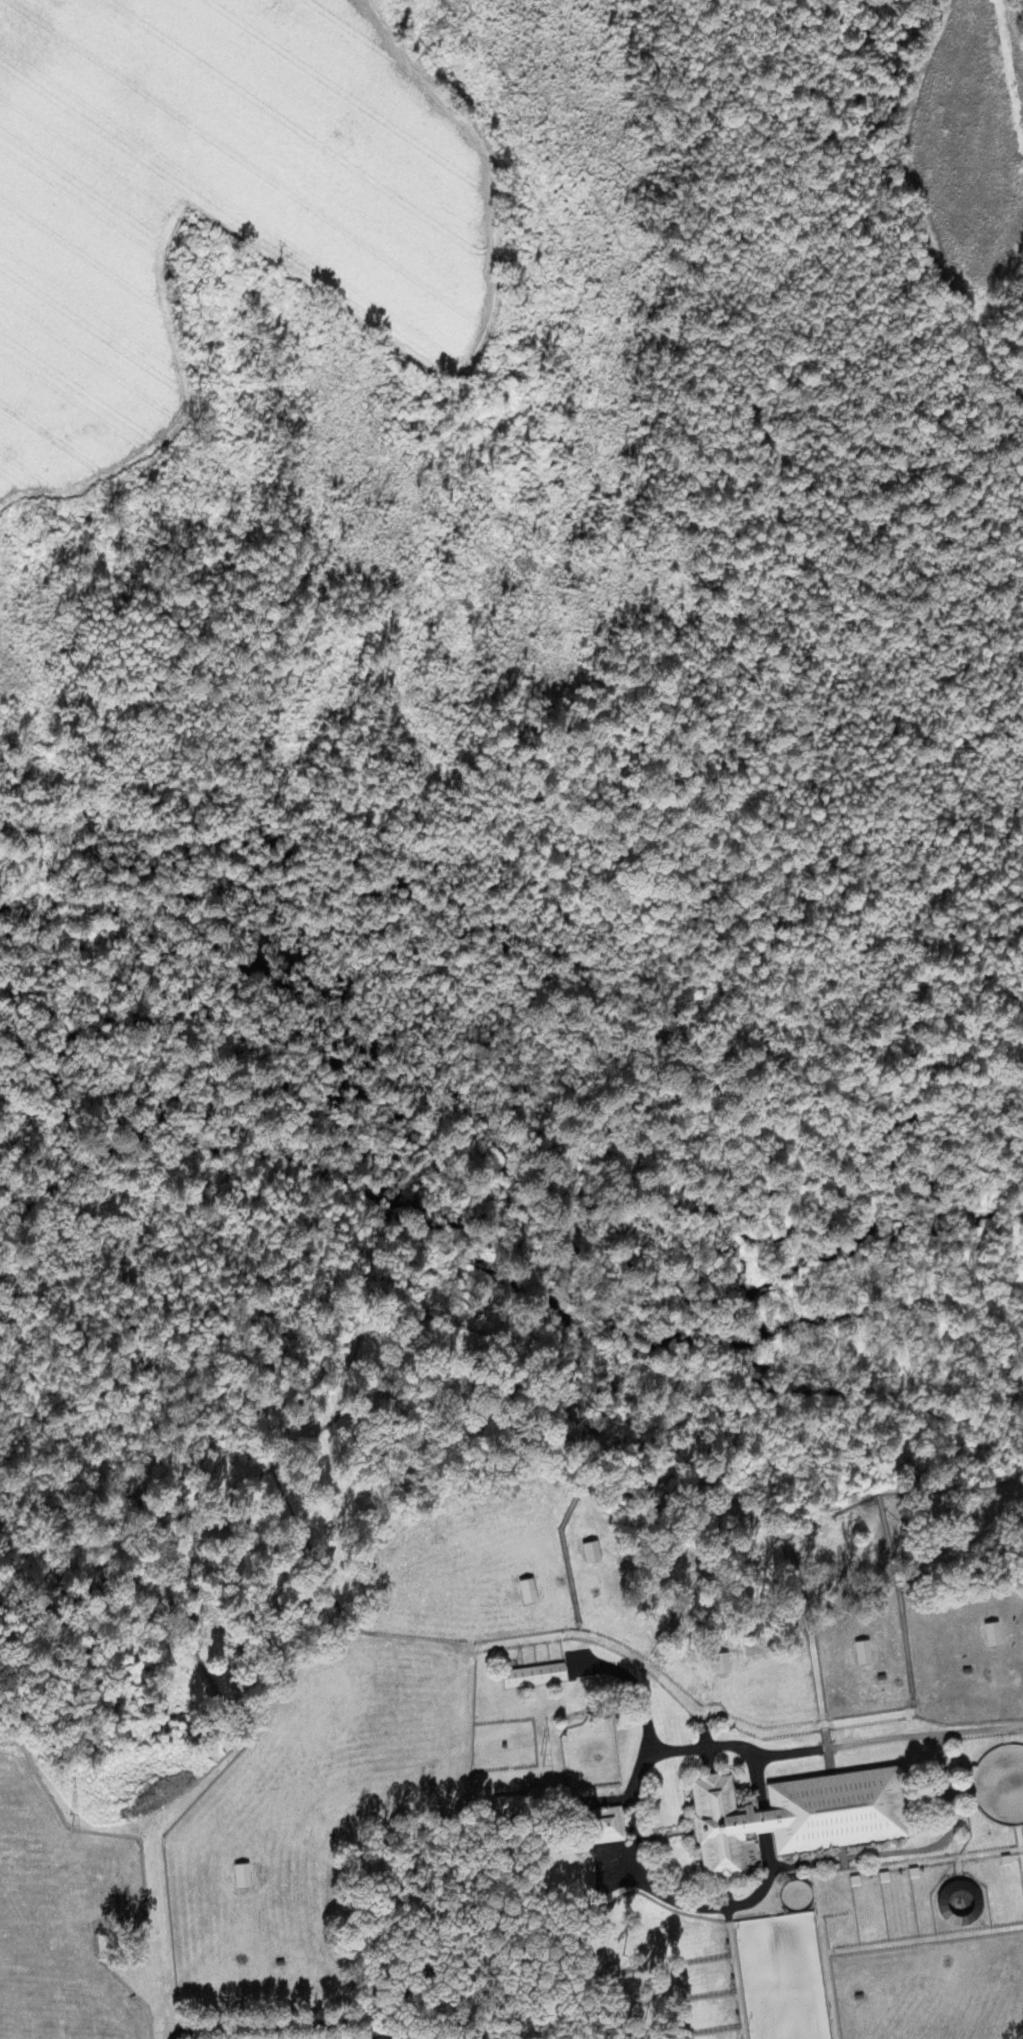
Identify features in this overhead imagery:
building: (593, 1552)
building: (530, 1591)
building: (994, 1635)
building: (865, 1653)
building: (536, 1675)
power tower: (541, 1759)
building: (800, 1816)
power tower: (73, 1821)
building: (608, 1825)
building: (752, 1855)
building: (243, 1876)

